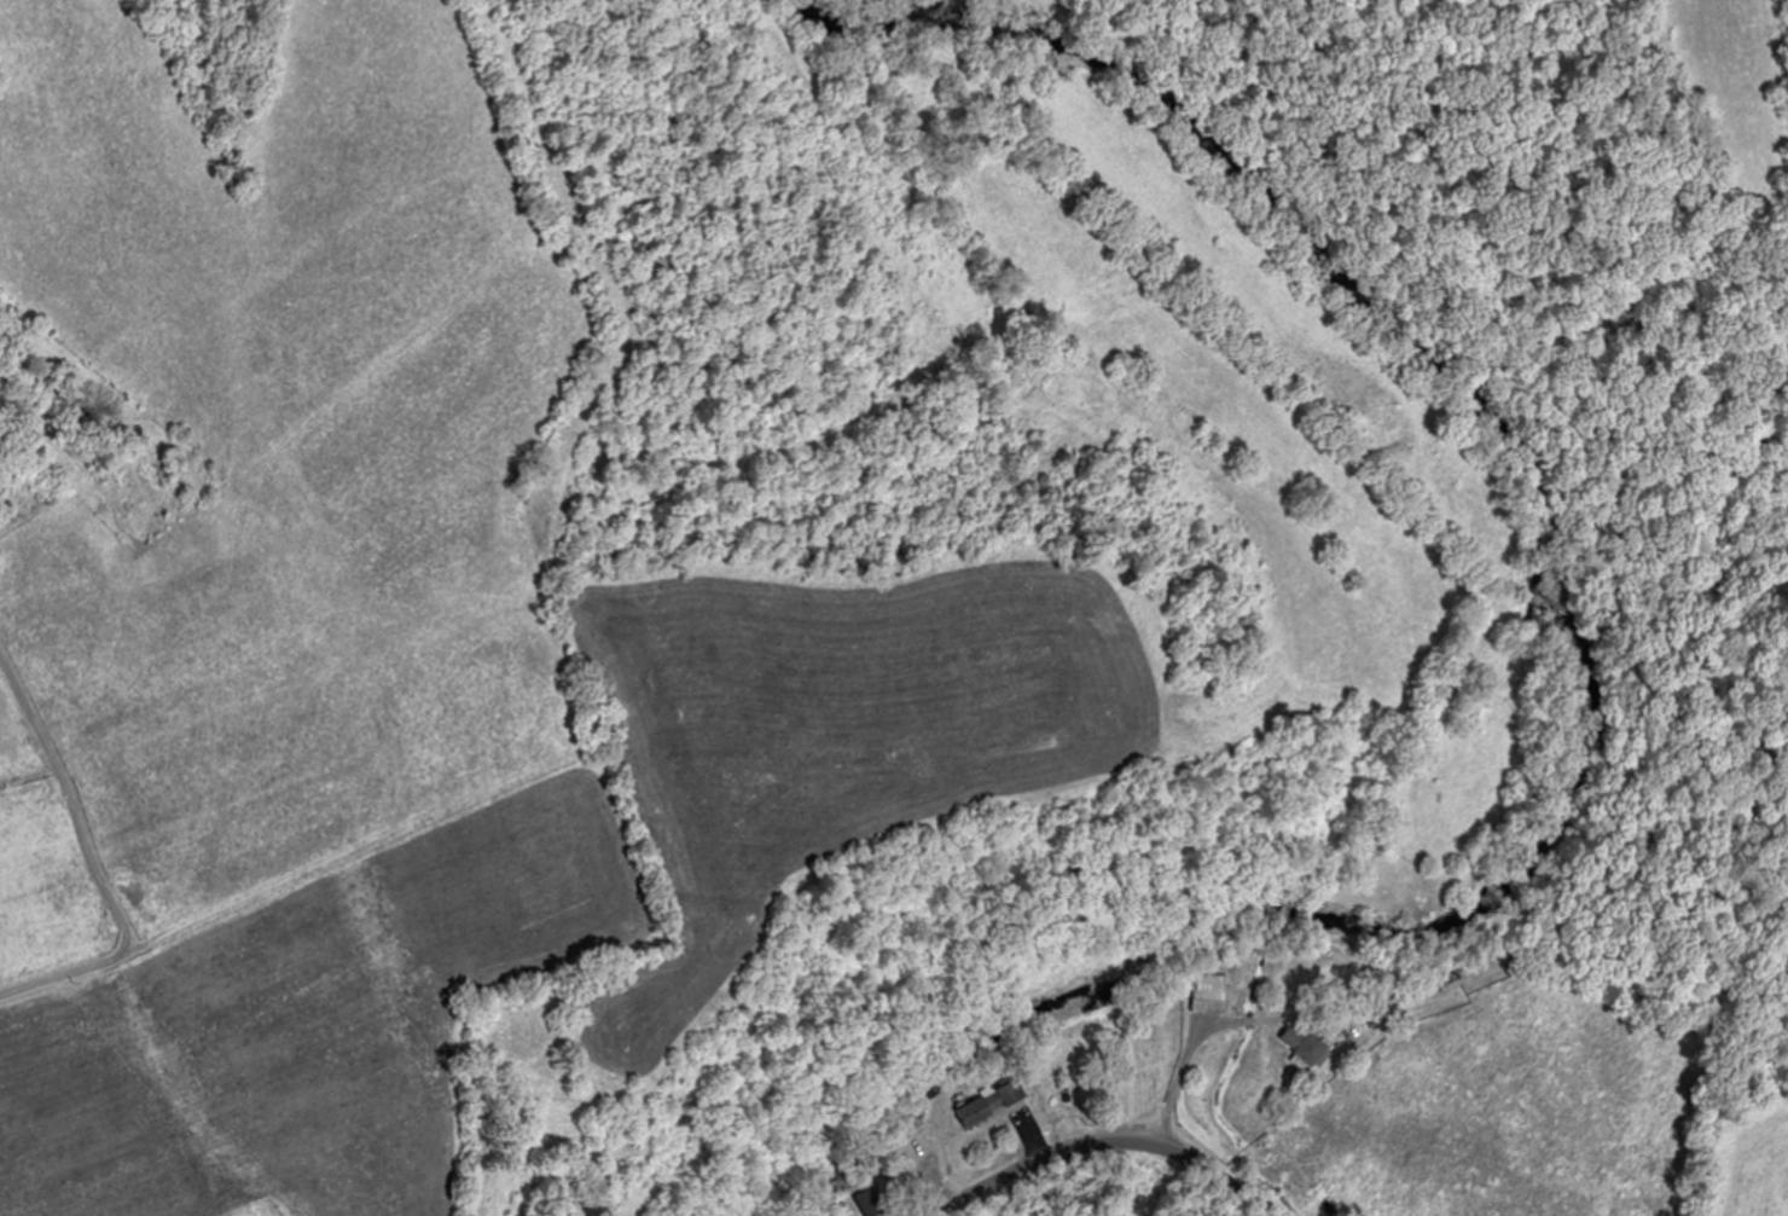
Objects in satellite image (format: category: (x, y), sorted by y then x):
road: (94, 861)
building: (1450, 980)
building: (1209, 992)
building: (1307, 1047)
building: (1146, 1077)
building: (993, 1102)
road: (1104, 1141)
building: (918, 1147)

